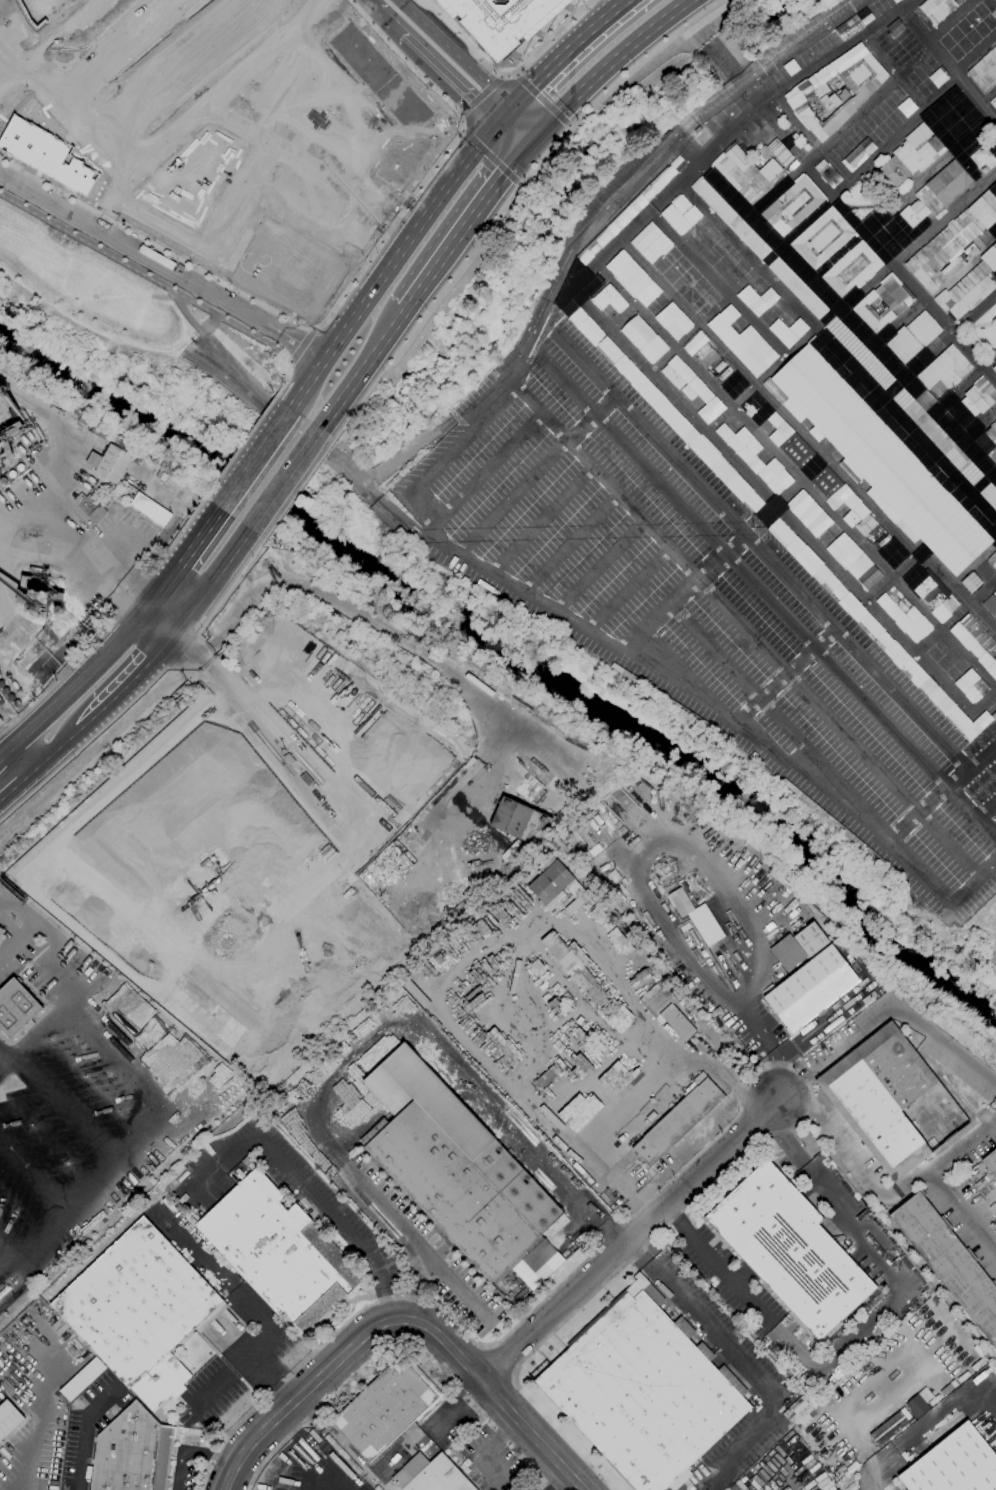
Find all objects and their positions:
road: (317, 1)
road: (375, 3)
building: (938, 9)
building: (36, 10)
road: (270, 16)
road: (390, 19)
building: (501, 20)
road: (1, 26)
road: (231, 28)
road: (708, 38)
road: (187, 41)
road: (48, 42)
road: (565, 51)
road: (609, 63)
road: (949, 64)
road: (133, 67)
road: (467, 67)
building: (985, 70)
road: (505, 73)
road: (514, 73)
building: (380, 75)
road: (501, 75)
road: (448, 78)
road: (751, 86)
building: (862, 89)
road: (104, 90)
road: (276, 92)
road: (479, 94)
building: (843, 95)
road: (988, 97)
road: (347, 99)
road: (542, 99)
building: (830, 101)
building: (994, 104)
road: (198, 106)
building: (905, 106)
road: (61, 107)
traffic signals: (511, 108)
road: (864, 110)
road: (458, 114)
road: (503, 116)
road: (311, 119)
traffic signals: (495, 124)
building: (755, 125)
road: (569, 126)
road: (459, 130)
road: (730, 130)
flagpole: (789, 130)
traffic signals: (539, 134)
road: (681, 135)
road: (509, 137)
building: (795, 137)
building: (702, 138)
road: (811, 138)
building: (43, 149)
traffic signals: (524, 151)
building: (776, 152)
building: (857, 154)
building: (910, 155)
road: (489, 156)
building: (402, 160)
road: (308, 164)
building: (988, 164)
building: (677, 165)
building: (747, 174)
road: (518, 184)
road: (182, 189)
road: (269, 190)
road: (897, 194)
building: (644, 199)
building: (929, 199)
road: (509, 201)
road: (825, 204)
building: (792, 206)
road: (468, 219)
building: (730, 219)
building: (675, 220)
building: (612, 230)
building: (953, 237)
building: (651, 240)
road: (875, 246)
road: (213, 248)
building: (859, 254)
building: (585, 258)
road: (391, 264)
road: (162, 265)
building: (285, 268)
building: (994, 273)
building: (629, 274)
road: (146, 275)
road: (718, 283)
building: (969, 288)
building: (798, 289)
road: (934, 289)
building: (710, 295)
building: (689, 296)
building: (610, 300)
road: (851, 300)
road: (334, 306)
building: (861, 306)
building: (756, 307)
building: (695, 308)
road: (537, 312)
building: (723, 319)
road: (847, 320)
building: (673, 321)
street lamp: (295, 324)
road: (978, 325)
road: (311, 329)
building: (788, 330)
building: (913, 338)
building: (643, 339)
building: (600, 341)
road: (300, 345)
road: (939, 347)
road: (518, 350)
building: (701, 350)
road: (837, 350)
building: (752, 351)
building: (859, 353)
road: (288, 361)
building: (994, 368)
road: (362, 369)
road: (299, 370)
building: (945, 370)
road: (284, 380)
road: (965, 383)
building: (692, 388)
building: (978, 397)
road: (605, 406)
road: (286, 412)
road: (535, 412)
building: (667, 412)
road: (978, 425)
building: (775, 428)
road: (580, 429)
building: (21, 432)
road: (805, 437)
building: (938, 437)
building: (987, 442)
road: (238, 447)
building: (796, 450)
road: (327, 451)
road: (447, 452)
road: (501, 455)
building: (756, 459)
building: (93, 460)
building: (878, 460)
road: (251, 462)
building: (113, 463)
road: (293, 463)
building: (19, 468)
building: (11, 474)
building: (161, 475)
road: (796, 475)
building: (728, 476)
building: (2, 481)
road: (984, 481)
road: (300, 488)
road: (792, 489)
building: (1, 493)
road: (372, 494)
building: (990, 495)
road: (512, 498)
road: (773, 500)
building: (843, 501)
building: (89, 507)
road: (388, 507)
building: (150, 510)
road: (257, 513)
building: (809, 514)
road: (18, 518)
road: (541, 520)
road: (408, 525)
road: (19, 528)
road: (427, 528)
road: (591, 532)
road: (174, 537)
road: (572, 545)
building: (795, 548)
road: (114, 554)
road: (761, 555)
road: (721, 558)
road: (181, 561)
building: (854, 561)
building: (993, 561)
road: (595, 571)
road: (742, 573)
road: (892, 577)
road: (209, 581)
building: (971, 583)
road: (231, 587)
building: (925, 587)
building: (36, 589)
road: (628, 590)
road: (129, 593)
building: (934, 601)
building: (991, 604)
building: (948, 606)
building: (58, 609)
building: (904, 614)
road: (660, 615)
road: (955, 615)
road: (15, 629)
building: (874, 630)
building: (976, 641)
road: (610, 644)
road: (415, 649)
road: (181, 651)
road: (201, 655)
river: (512, 658)
road: (773, 658)
building: (956, 670)
road: (59, 675)
road: (782, 675)
road: (77, 682)
road: (128, 684)
road: (747, 685)
building: (10, 698)
building: (944, 701)
road: (984, 703)
building: (17, 704)
building: (995, 704)
road: (83, 745)
road: (11, 749)
road: (535, 749)
road: (54, 751)
road: (11, 768)
road: (958, 778)
road: (983, 804)
road: (970, 814)
building: (517, 819)
road: (902, 828)
road: (873, 830)
building: (413, 843)
quarry: (247, 855)
road: (696, 872)
road: (973, 881)
building: (557, 884)
building: (680, 903)
road: (29, 922)
building: (798, 946)
road: (475, 953)
road: (61, 961)
building: (811, 989)
building: (15, 1007)
building: (666, 1011)
building: (569, 1040)
road: (371, 1052)
building: (587, 1057)
building: (173, 1062)
building: (545, 1077)
building: (99, 1094)
building: (892, 1101)
road: (787, 1102)
road: (636, 1103)
building: (581, 1108)
road: (736, 1114)
road: (163, 1116)
building: (677, 1122)
road: (959, 1147)
building: (991, 1163)
building: (455, 1168)
road: (318, 1198)
road: (633, 1240)
building: (789, 1250)
building: (279, 1252)
road: (5, 1255)
building: (538, 1256)
building: (949, 1262)
road: (218, 1278)
building: (39, 1305)
building: (140, 1311)
road: (404, 1319)
road: (865, 1331)
parking lot: (233, 1352)
road: (497, 1363)
road: (744, 1363)
road: (232, 1366)
building: (82, 1379)
road: (270, 1379)
building: (644, 1391)
building: (916, 1405)
building: (386, 1408)
building: (8, 1419)
road: (41, 1419)
building: (887, 1428)
road: (84, 1434)
road: (926, 1435)
road: (481, 1451)
building: (132, 1452)
road: (190, 1452)
road: (299, 1453)
building: (954, 1465)
parking lot: (307, 1468)
road: (304, 1471)
building: (434, 1477)
road: (561, 1481)
road: (14, 1487)
road: (759, 1489)

